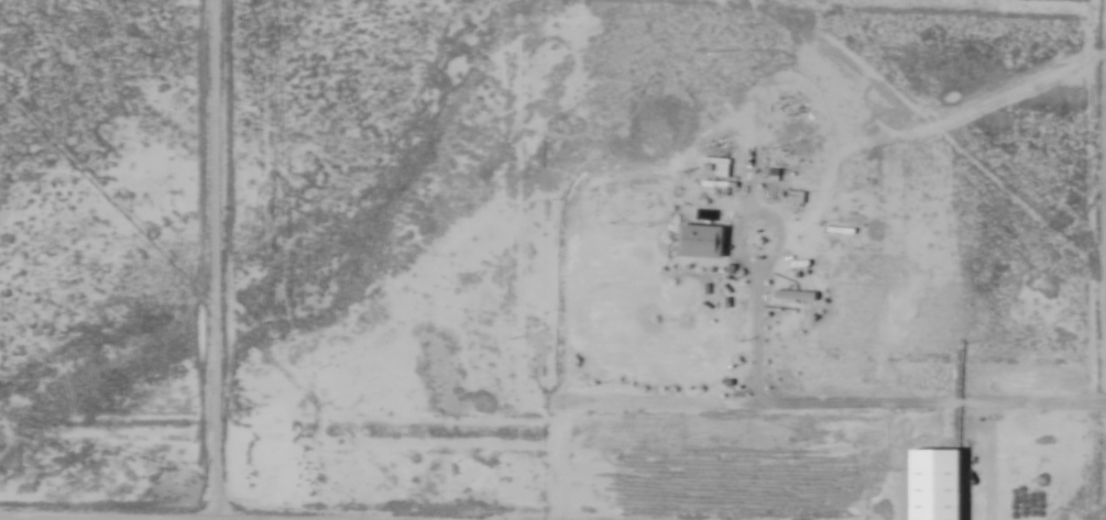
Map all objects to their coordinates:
road: (218, 210)
building: (700, 242)
road: (756, 328)
road: (109, 416)
road: (661, 416)
road: (981, 466)

